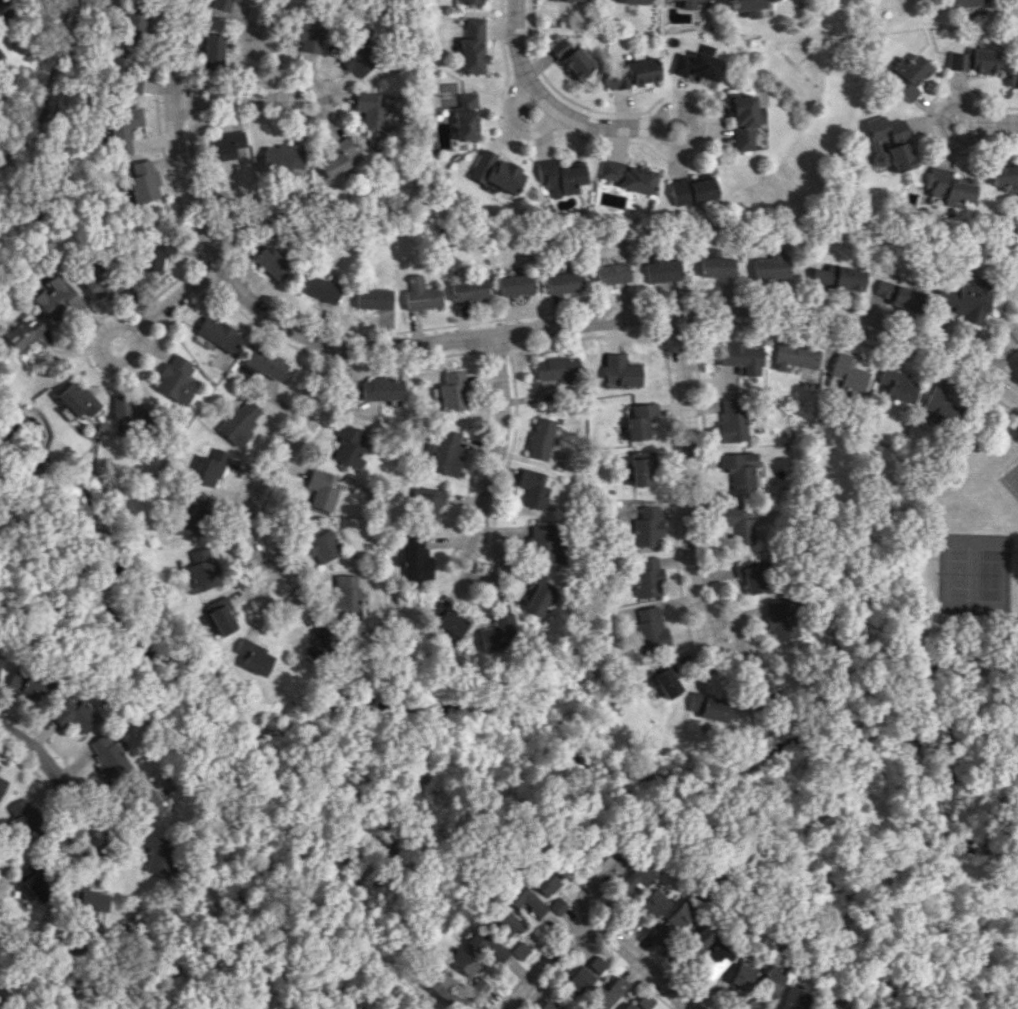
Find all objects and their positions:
building: (572, 0)
building: (635, 1)
building: (471, 2)
building: (223, 4)
building: (689, 4)
building: (746, 6)
building: (2, 10)
building: (133, 15)
building: (303, 34)
building: (473, 46)
building: (213, 50)
building: (0, 55)
building: (572, 58)
building: (357, 59)
building: (972, 60)
building: (699, 65)
building: (632, 73)
building: (122, 74)
building: (906, 76)
building: (1013, 76)
road: (324, 99)
road: (228, 100)
road: (549, 101)
building: (370, 109)
road: (939, 116)
building: (466, 117)
road: (999, 119)
building: (746, 120)
road: (701, 124)
building: (122, 127)
road: (520, 127)
building: (438, 131)
building: (888, 142)
building: (227, 146)
building: (336, 157)
road: (683, 158)
building: (282, 159)
building: (496, 172)
building: (1005, 175)
building: (629, 176)
building: (559, 177)
building: (143, 182)
building: (947, 187)
building: (693, 189)
building: (710, 251)
building: (155, 253)
building: (271, 262)
building: (771, 265)
building: (716, 266)
building: (662, 270)
building: (611, 273)
building: (838, 277)
building: (562, 282)
building: (96, 284)
building: (514, 284)
building: (320, 288)
building: (467, 288)
building: (420, 294)
building: (897, 295)
road: (174, 297)
building: (58, 298)
building: (372, 298)
building: (964, 299)
road: (674, 326)
road: (257, 327)
road: (992, 331)
building: (218, 333)
building: (25, 334)
road: (475, 336)
road: (494, 349)
road: (995, 350)
road: (99, 351)
road: (1005, 354)
road: (326, 355)
building: (740, 357)
road: (411, 358)
road: (984, 359)
building: (798, 361)
building: (264, 362)
building: (555, 367)
building: (618, 371)
building: (846, 373)
road: (1008, 375)
building: (175, 379)
street lamp: (977, 384)
building: (895, 385)
building: (381, 388)
building: (449, 391)
building: (77, 399)
building: (937, 405)
building: (128, 414)
building: (729, 419)
building: (638, 420)
building: (240, 421)
road: (481, 422)
road: (496, 437)
building: (539, 438)
building: (347, 445)
building: (443, 452)
road: (279, 456)
parking lot: (1017, 459)
building: (209, 467)
road: (1015, 467)
building: (639, 468)
road: (689, 468)
building: (740, 469)
parking lot: (1009, 481)
road: (1007, 487)
building: (321, 489)
building: (533, 489)
building: (428, 503)
building: (190, 516)
building: (735, 523)
building: (647, 527)
building: (319, 542)
building: (543, 543)
road: (1014, 549)
building: (413, 558)
building: (201, 570)
park: (973, 572)
building: (750, 574)
building: (644, 577)
road: (477, 582)
building: (345, 596)
road: (293, 597)
building: (537, 597)
building: (218, 617)
building: (779, 619)
building: (450, 623)
building: (650, 628)
building: (498, 631)
road: (756, 644)
building: (316, 646)
road: (733, 652)
building: (253, 656)
building: (662, 678)
building: (29, 685)
building: (714, 709)
building: (76, 712)
building: (108, 757)
road: (51, 766)
road: (32, 767)
building: (2, 784)
building: (149, 804)
building: (26, 819)
road: (900, 834)
road: (102, 853)
building: (156, 854)
building: (598, 872)
building: (631, 880)
building: (542, 881)
building: (30, 890)
building: (521, 898)
road: (898, 898)
building: (93, 901)
building: (653, 903)
building: (555, 905)
building: (677, 914)
building: (624, 916)
building: (503, 923)
street lamp: (593, 924)
building: (653, 931)
building: (694, 940)
building: (485, 946)
building: (517, 950)
building: (460, 962)
road: (640, 962)
building: (712, 962)
building: (596, 964)
road: (539, 967)
road: (632, 972)
road: (845, 972)
road: (549, 973)
building: (740, 975)
road: (839, 976)
building: (579, 978)
road: (830, 980)
building: (769, 982)
road: (819, 984)
building: (478, 985)
road: (823, 985)
building: (443, 989)
building: (607, 992)
building: (721, 994)
building: (791, 997)
building: (751, 1002)
building: (831, 1004)
building: (545, 1005)
building: (627, 1006)
building: (865, 1006)
building: (850, 1008)

